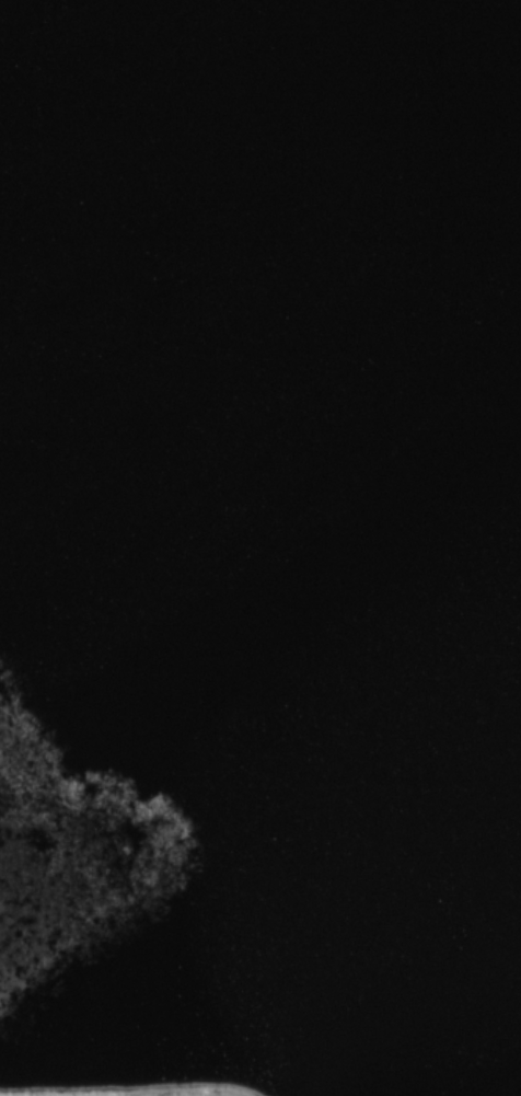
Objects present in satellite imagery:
river: (368, 817)
dam: (142, 1089)

